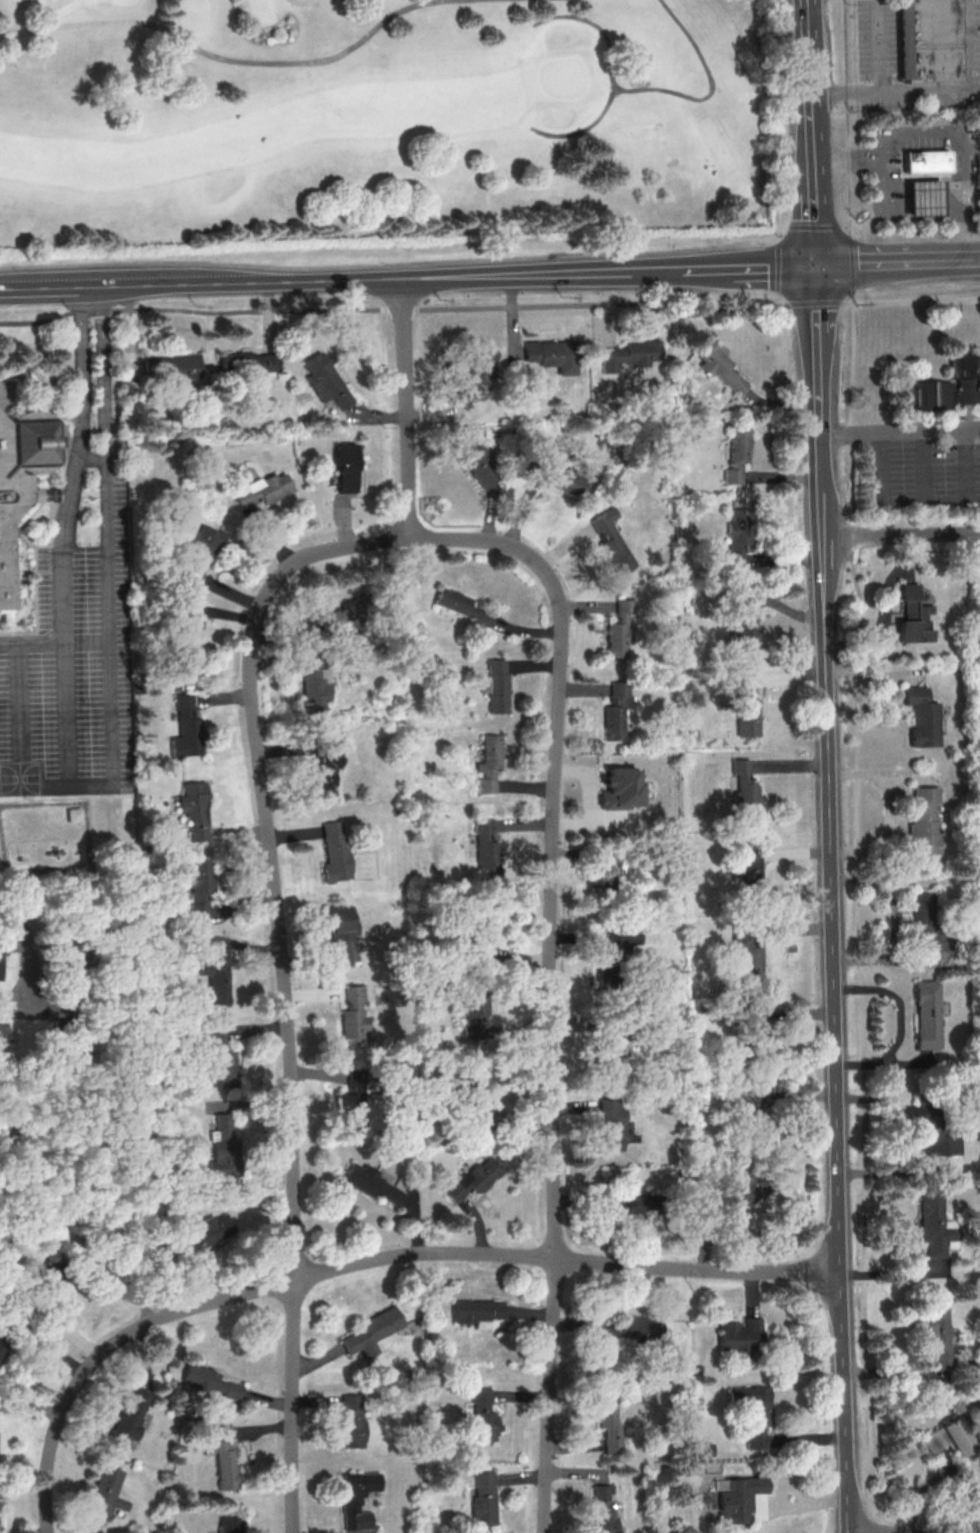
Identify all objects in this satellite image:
road: (301, 1)
building: (933, 41)
road: (878, 45)
road: (809, 46)
road: (221, 56)
road: (968, 87)
road: (652, 88)
road: (846, 91)
road: (845, 113)
park: (376, 118)
road: (582, 128)
road: (939, 137)
building: (925, 160)
road: (814, 178)
road: (884, 189)
building: (923, 195)
road: (952, 198)
road: (924, 199)
road: (897, 262)
traffic signals: (816, 265)
road: (720, 268)
road: (312, 281)
road: (852, 294)
road: (916, 300)
building: (553, 354)
building: (630, 354)
road: (818, 361)
building: (247, 362)
building: (171, 366)
building: (720, 366)
building: (474, 373)
building: (325, 380)
building: (945, 385)
road: (406, 409)
road: (900, 430)
building: (737, 452)
building: (477, 464)
building: (346, 467)
building: (560, 476)
building: (22, 477)
building: (263, 489)
road: (901, 535)
building: (737, 537)
road: (105, 539)
building: (612, 541)
road: (64, 553)
building: (200, 553)
building: (460, 605)
road: (882, 606)
building: (344, 616)
building: (913, 616)
building: (742, 623)
building: (621, 628)
building: (189, 633)
road: (54, 642)
building: (313, 683)
building: (496, 685)
building: (745, 707)
building: (618, 712)
road: (20, 715)
building: (921, 716)
building: (186, 728)
building: (488, 763)
building: (325, 767)
road: (35, 786)
building: (620, 787)
building: (744, 789)
building: (195, 809)
road: (887, 811)
building: (74, 814)
building: (923, 819)
building: (485, 847)
building: (334, 851)
building: (749, 865)
building: (604, 872)
building: (200, 889)
building: (925, 924)
building: (341, 934)
building: (478, 934)
building: (621, 938)
road: (29, 946)
building: (3, 950)
building: (747, 958)
building: (216, 973)
road: (550, 978)
road: (284, 981)
road: (833, 995)
building: (474, 1012)
building: (927, 1013)
building: (353, 1016)
road: (899, 1022)
building: (752, 1025)
building: (2, 1035)
building: (607, 1054)
building: (222, 1056)
building: (480, 1102)
building: (352, 1104)
building: (611, 1124)
road: (890, 1129)
building: (932, 1132)
building: (223, 1145)
building: (474, 1177)
building: (369, 1183)
building: (737, 1197)
building: (634, 1204)
building: (933, 1222)
building: (201, 1236)
road: (366, 1261)
road: (894, 1268)
building: (477, 1311)
building: (632, 1327)
building: (372, 1331)
building: (738, 1334)
building: (935, 1337)
building: (2, 1346)
building: (210, 1380)
building: (751, 1411)
building: (483, 1416)
building: (129, 1419)
building: (352, 1420)
building: (608, 1421)
building: (947, 1436)
building: (703, 1449)
building: (222, 1457)
building: (106, 1492)
building: (733, 1496)
building: (356, 1498)
building: (483, 1498)
building: (601, 1509)
building: (229, 1524)
road: (944, 1529)

